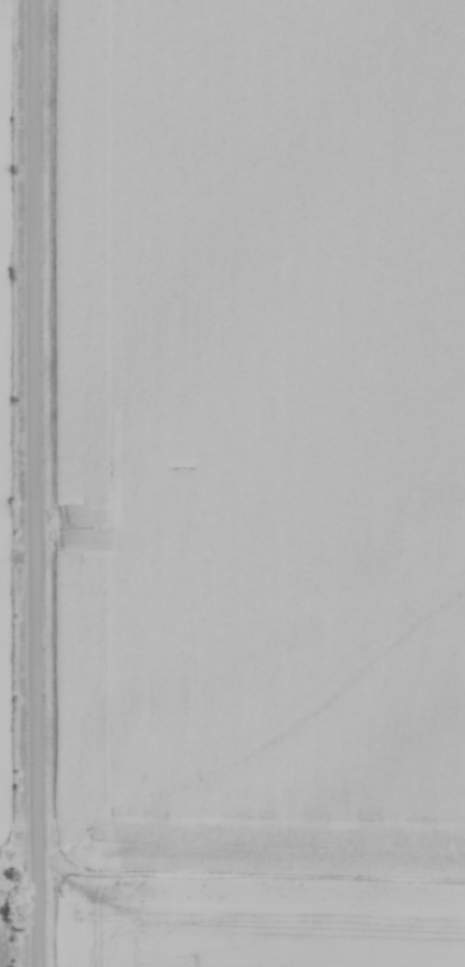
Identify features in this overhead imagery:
road: (31, 483)

